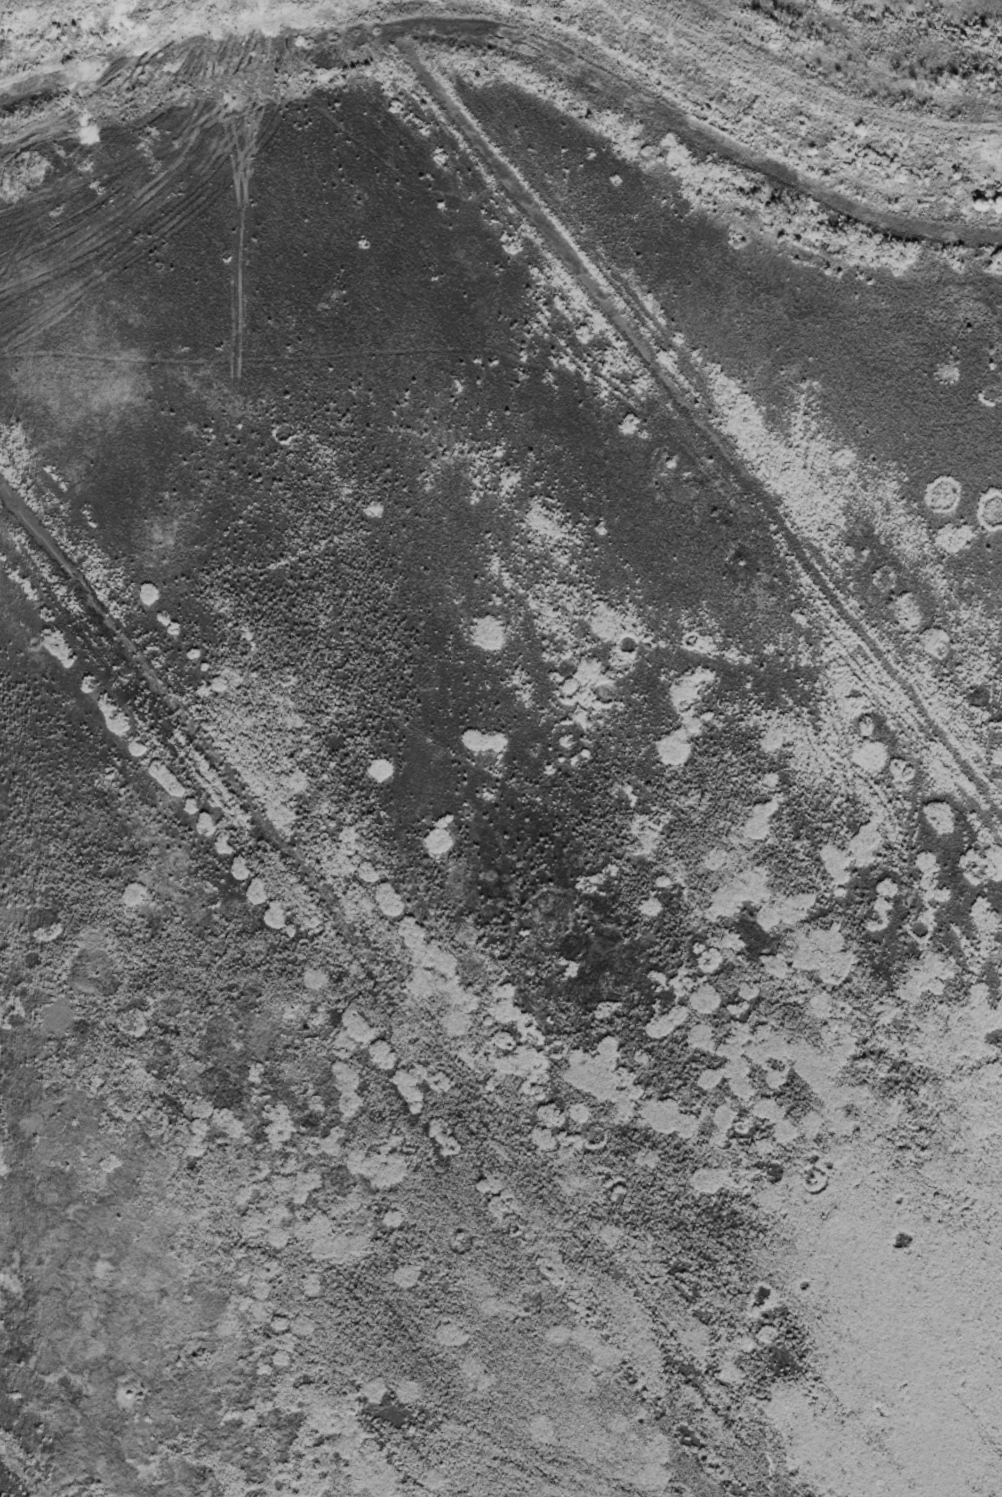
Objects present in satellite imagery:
landfill: (501, 748)

